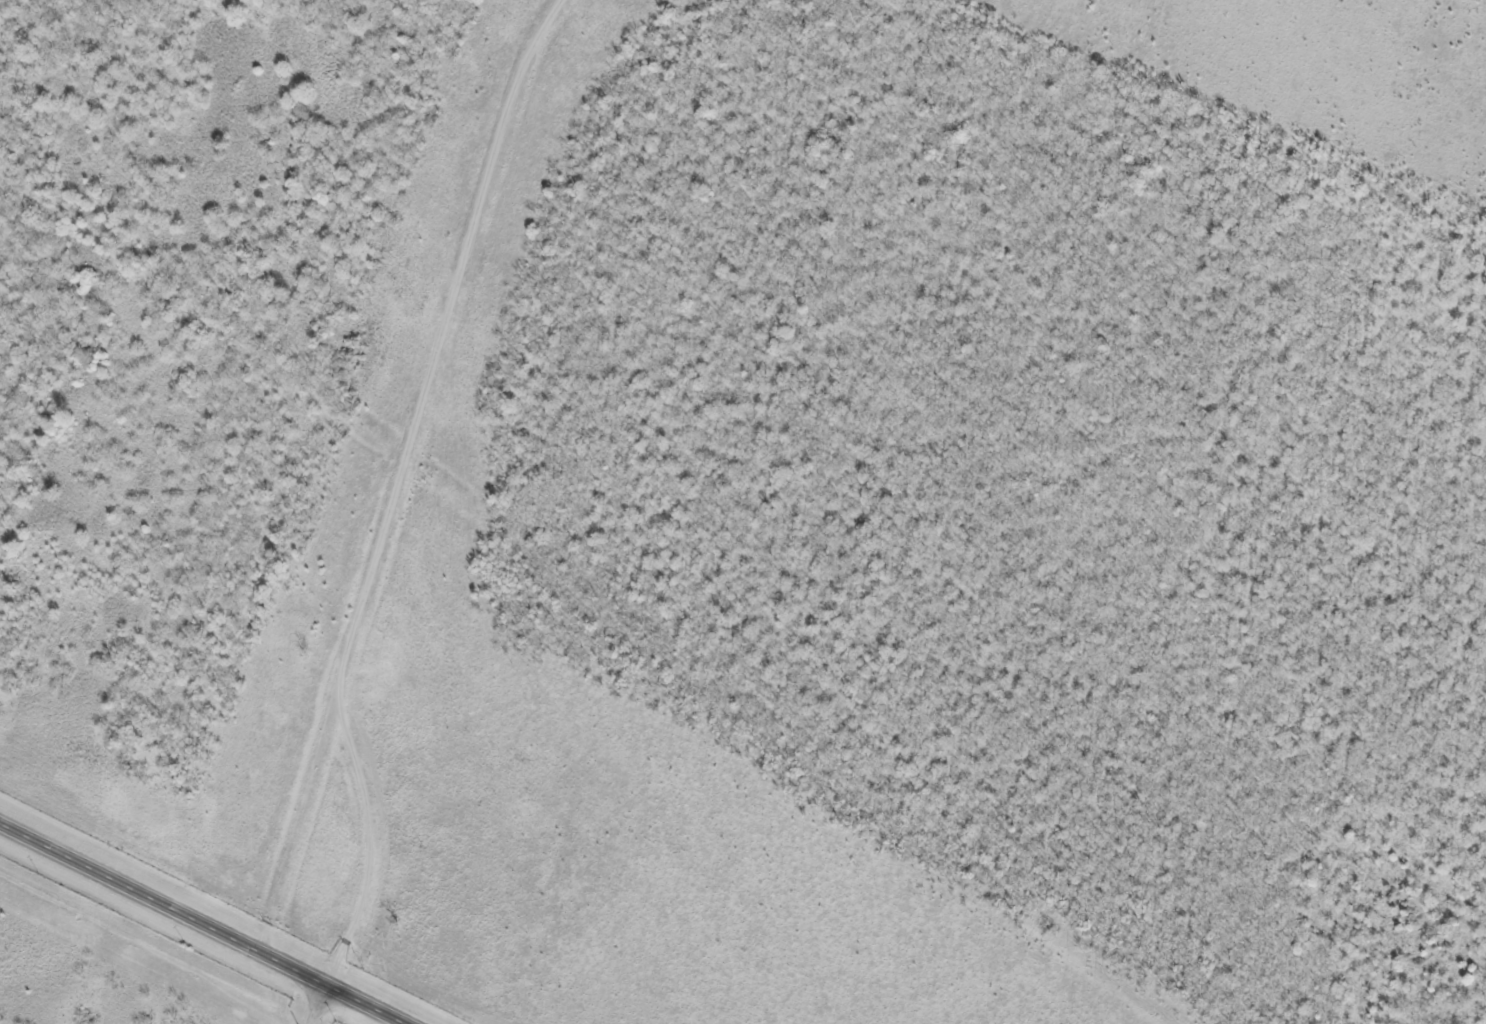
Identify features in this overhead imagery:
road: (394, 487)
road: (204, 922)
road: (315, 1003)

